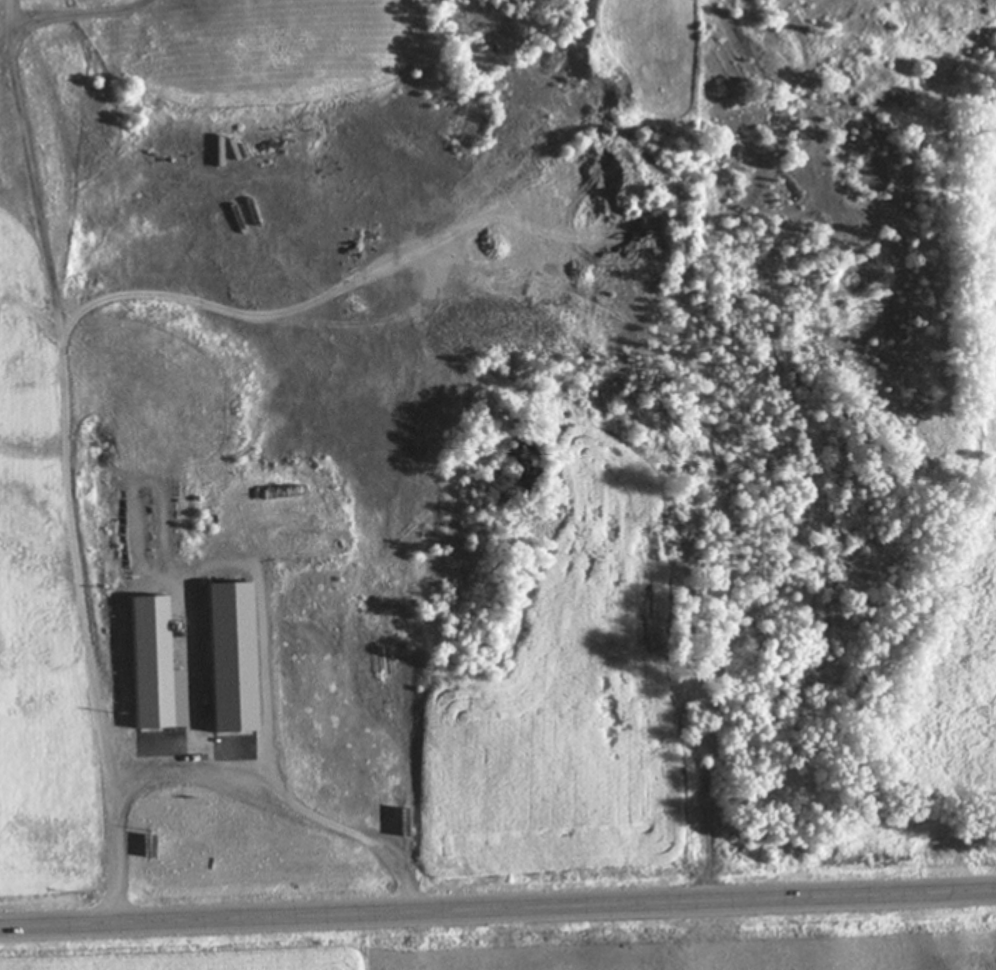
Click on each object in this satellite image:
road: (68, 352)
building: (228, 658)
building: (149, 667)
road: (231, 782)
road: (497, 910)

